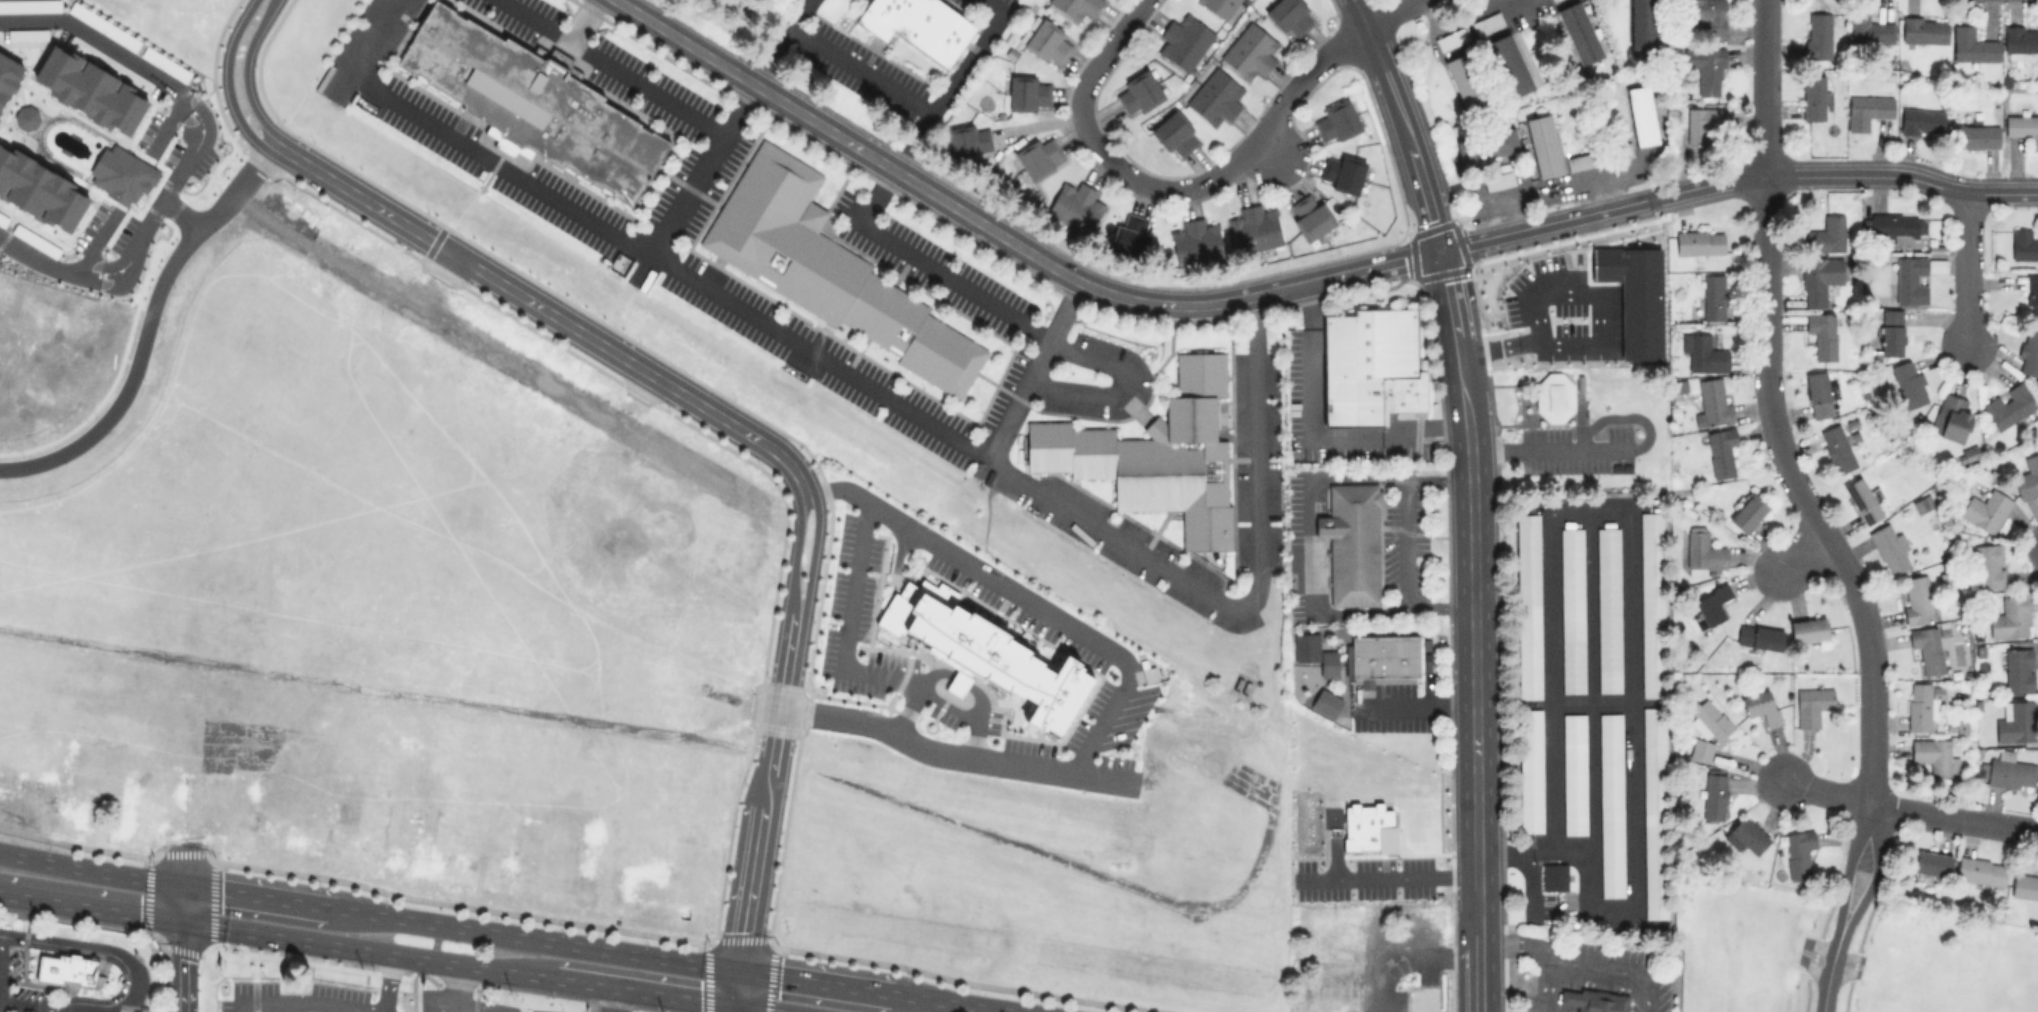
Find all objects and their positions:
building: (1075, 7)
building: (1219, 7)
parking lot: (986, 11)
road: (1393, 13)
building: (1707, 15)
building: (1289, 16)
road: (1451, 21)
building: (1486, 23)
building: (919, 25)
building: (1642, 26)
building: (1867, 29)
building: (1924, 30)
building: (1579, 32)
building: (1818, 35)
building: (1451, 39)
building: (2020, 40)
building: (1184, 41)
building: (1048, 42)
road: (688, 43)
building: (1973, 45)
building: (1249, 51)
road: (771, 54)
building: (1509, 64)
road: (616, 69)
building: (1706, 69)
road: (244, 71)
road: (1092, 76)
building: (8, 77)
road: (228, 79)
building: (1463, 80)
road: (1764, 89)
building: (91, 90)
building: (1139, 91)
building: (1027, 93)
building: (1215, 96)
building: (1813, 97)
building: (533, 101)
road: (906, 101)
building: (1868, 109)
building: (1642, 115)
building: (26, 117)
building: (1336, 120)
building: (1923, 121)
road: (1401, 123)
building: (1702, 123)
building: (2023, 127)
road: (1039, 130)
building: (1175, 134)
building: (1977, 136)
building: (969, 141)
road: (911, 142)
road: (1250, 144)
building: (1543, 145)
building: (1487, 146)
road: (1265, 149)
road: (193, 154)
building: (1039, 156)
building: (1581, 161)
road: (707, 172)
building: (1341, 172)
building: (122, 174)
road: (1845, 179)
building: (1499, 180)
building: (40, 190)
building: (1076, 208)
road: (183, 214)
building: (1309, 215)
road: (1545, 225)
building: (1896, 225)
building: (1255, 229)
building: (1827, 234)
building: (1131, 236)
building: (1700, 242)
building: (1196, 244)
building: (2023, 244)
building: (1936, 264)
building: (830, 270)
road: (1966, 270)
building: (1819, 278)
road: (1076, 279)
building: (1911, 279)
building: (2032, 295)
building: (1712, 297)
road: (547, 310)
road: (1012, 316)
road: (147, 327)
road: (1597, 329)
building: (1890, 332)
building: (1822, 334)
building: (1703, 353)
building: (2029, 354)
building: (1373, 367)
road: (1034, 370)
building: (1909, 383)
building: (1818, 394)
building: (1553, 396)
building: (1712, 403)
road: (901, 406)
building: (2008, 406)
building: (1951, 417)
road: (1467, 428)
road: (1312, 436)
building: (1837, 448)
road: (1610, 449)
building: (1721, 451)
parking lot: (1559, 453)
building: (1969, 453)
building: (1158, 455)
building: (2027, 478)
road: (1801, 498)
building: (1862, 500)
building: (1923, 504)
building: (1985, 509)
road: (1305, 512)
building: (1747, 513)
building: (1354, 544)
road: (1405, 546)
building: (1889, 548)
road: (796, 551)
road: (812, 551)
building: (1702, 551)
road: (1802, 556)
building: (1989, 565)
road: (1021, 594)
building: (1916, 599)
building: (1713, 603)
building: (1527, 605)
building: (1652, 605)
road: (1438, 608)
building: (1608, 609)
building: (1572, 610)
building: (2010, 617)
building: (1808, 629)
building: (1759, 636)
building: (1927, 647)
building: (985, 653)
building: (1387, 660)
building: (1329, 664)
road: (854, 667)
building: (2018, 670)
building: (1148, 671)
road: (958, 683)
road: (914, 693)
road: (977, 701)
building: (1327, 703)
building: (1812, 705)
building: (1921, 705)
road: (1417, 707)
building: (1761, 707)
building: (1711, 721)
building: (2015, 722)
building: (1700, 749)
road: (954, 754)
building: (1933, 755)
road: (1474, 759)
building: (1530, 771)
building: (2009, 771)
building: (1574, 774)
road: (767, 788)
road: (1828, 793)
building: (1714, 795)
building: (1611, 805)
building: (1654, 811)
road: (1954, 818)
building: (1746, 835)
building: (1798, 853)
road: (1521, 859)
building: (1932, 863)
road: (90, 868)
building: (1981, 870)
building: (1554, 877)
road: (1397, 881)
traffic signals: (181, 883)
road: (1844, 884)
building: (2025, 884)
road: (1869, 889)
road: (1, 892)
road: (265, 896)
road: (180, 901)
road: (90, 905)
traffic signals: (179, 920)
road: (544, 939)
road: (1396, 948)
road: (366, 950)
road: (122, 953)
road: (1477, 960)
road: (1580, 960)
road: (179, 966)
traffic signals: (740, 969)
building: (69, 970)
road: (819, 981)
road: (388, 983)
road: (1546, 983)
parking lot: (16, 984)
road: (739, 986)
road: (454, 988)
road: (1826, 988)
road: (646, 991)
road: (618, 999)
building: (1424, 1000)
building: (1595, 1000)
road: (958, 1002)
road: (309, 1004)
traffic signals: (738, 1004)
road: (471, 1007)
road: (737, 1008)
road: (762, 1008)

